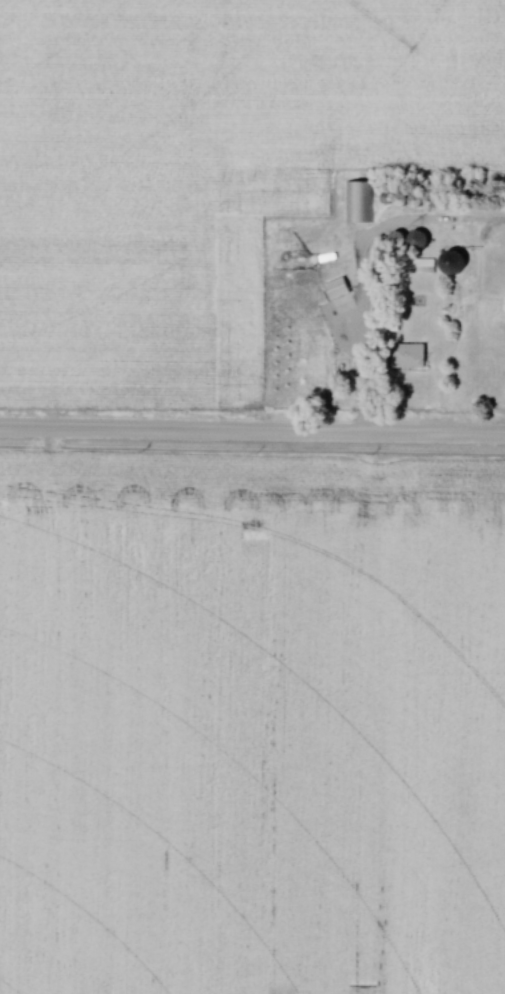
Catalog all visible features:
building: (272, 190)
building: (309, 195)
building: (359, 201)
building: (457, 261)
building: (341, 288)
building: (414, 356)
road: (361, 360)
road: (252, 436)

